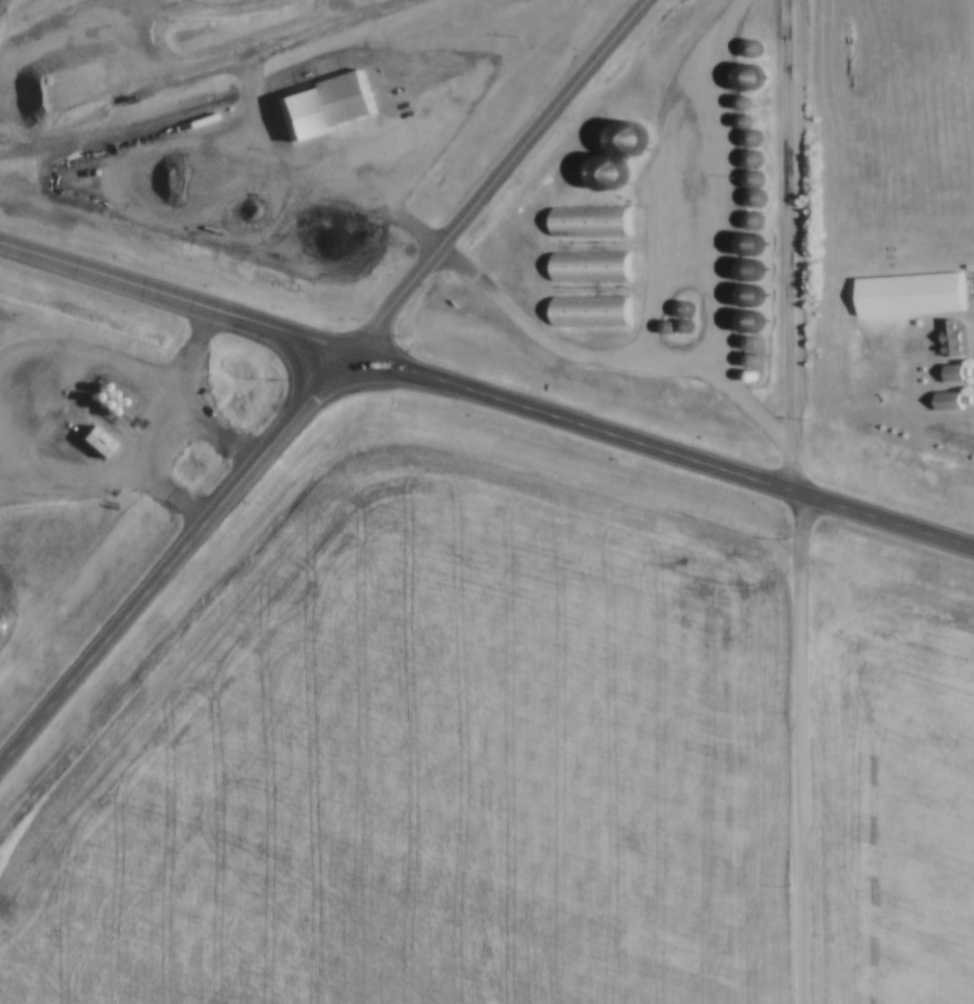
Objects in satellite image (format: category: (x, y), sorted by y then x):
road: (336, 12)
road: (327, 29)
building: (747, 48)
silo: (747, 48)
building: (744, 76)
silo: (744, 76)
road: (123, 96)
building: (742, 102)
silo: (742, 102)
building: (323, 110)
building: (743, 119)
silo: (743, 119)
building: (746, 137)
silo: (746, 137)
building: (623, 139)
silo: (623, 139)
building: (746, 158)
silo: (746, 158)
road: (656, 170)
building: (603, 172)
silo: (603, 172)
building: (747, 178)
silo: (747, 178)
road: (499, 180)
building: (755, 195)
building: (747, 197)
silo: (747, 197)
building: (748, 218)
silo: (748, 218)
building: (584, 221)
road: (722, 232)
building: (745, 244)
silo: (745, 244)
road: (789, 245)
road: (457, 258)
building: (584, 264)
building: (745, 269)
silo: (745, 269)
building: (746, 295)
silo: (746, 295)
building: (907, 295)
road: (174, 305)
building: (678, 307)
silo: (678, 307)
building: (584, 310)
building: (746, 320)
silo: (746, 320)
building: (661, 324)
silo: (661, 324)
building: (678, 324)
silo: (678, 324)
building: (950, 339)
building: (746, 343)
silo: (746, 343)
building: (746, 359)
silo: (746, 359)
building: (950, 374)
building: (746, 376)
silo: (746, 376)
storage tank: (92, 386)
storage tank: (100, 393)
storage tank: (84, 395)
storage tank: (109, 399)
building: (948, 401)
storage tank: (93, 402)
storage tank: (101, 408)
road: (157, 428)
road: (217, 429)
building: (88, 442)
road: (663, 449)
road: (171, 561)
road: (800, 746)

